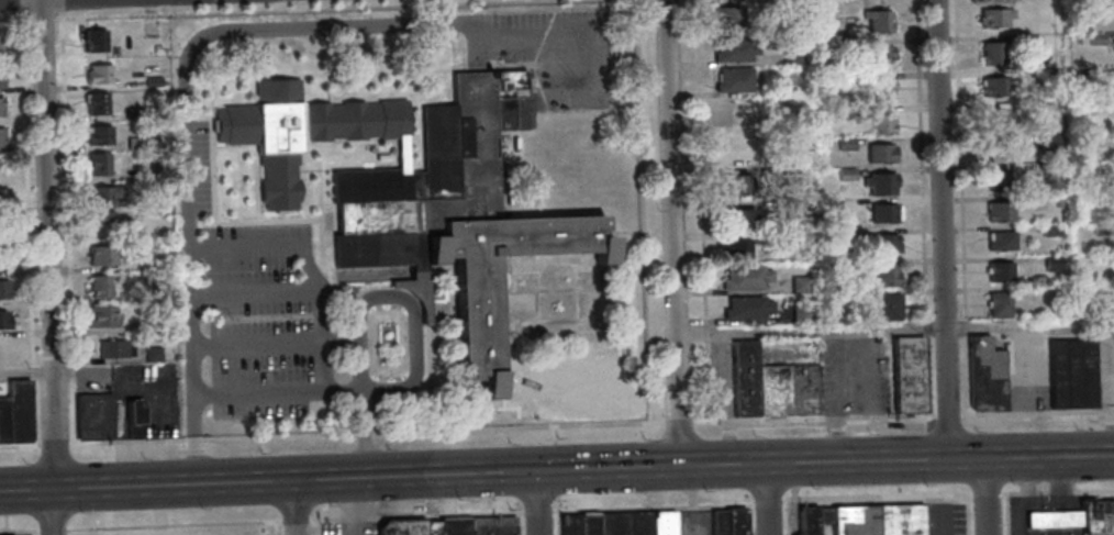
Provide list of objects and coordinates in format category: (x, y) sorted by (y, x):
road: (44, 1)
road: (20, 4)
road: (59, 4)
building: (784, 7)
road: (263, 10)
building: (726, 16)
building: (996, 19)
building: (877, 20)
road: (368, 24)
building: (839, 33)
building: (1095, 38)
building: (1081, 40)
building: (1029, 41)
building: (93, 42)
building: (1113, 43)
building: (842, 45)
building: (734, 49)
building: (992, 54)
building: (878, 55)
building: (790, 58)
building: (98, 74)
building: (1045, 74)
building: (1078, 76)
building: (0, 78)
building: (733, 80)
building: (152, 81)
building: (994, 86)
building: (877, 89)
building: (97, 103)
building: (0, 107)
building: (1080, 107)
building: (133, 114)
building: (994, 119)
building: (879, 124)
building: (98, 134)
building: (1, 137)
building: (1081, 142)
building: (135, 143)
building: (844, 143)
building: (1047, 143)
building: (735, 147)
building: (996, 152)
building: (879, 153)
building: (99, 164)
building: (789, 168)
building: (1049, 169)
building: (846, 174)
building: (1000, 181)
building: (734, 185)
building: (881, 185)
building: (2, 198)
building: (103, 200)
building: (1057, 203)
building: (831, 207)
road: (921, 207)
road: (960, 207)
building: (427, 208)
building: (794, 208)
road: (700, 210)
road: (643, 211)
building: (1000, 212)
building: (884, 213)
building: (739, 220)
road: (26, 227)
road: (66, 229)
building: (1100, 229)
road: (940, 230)
building: (1050, 231)
road: (671, 233)
building: (762, 236)
building: (833, 236)
road: (187, 241)
building: (1001, 242)
building: (885, 245)
building: (737, 250)
building: (102, 255)
building: (2, 259)
building: (1052, 264)
road: (47, 267)
building: (1000, 274)
building: (885, 276)
building: (745, 278)
building: (800, 285)
building: (99, 286)
building: (2, 289)
building: (416, 291)
road: (253, 296)
building: (999, 305)
building: (889, 306)
building: (746, 309)
road: (411, 312)
building: (799, 313)
building: (101, 316)
building: (4, 321)
road: (321, 321)
building: (149, 325)
road: (188, 326)
road: (1028, 326)
road: (809, 331)
road: (341, 342)
road: (256, 346)
building: (112, 348)
building: (152, 355)
road: (358, 358)
road: (45, 372)
building: (1071, 374)
building: (984, 375)
building: (909, 376)
building: (744, 379)
road: (361, 391)
building: (771, 391)
building: (802, 391)
road: (257, 397)
parking lot: (145, 398)
road: (726, 399)
building: (18, 412)
road: (1036, 413)
road: (946, 414)
building: (94, 415)
road: (165, 416)
road: (190, 417)
road: (812, 417)
building: (134, 420)
building: (3, 422)
road: (677, 422)
road: (366, 432)
road: (365, 434)
road: (550, 435)
road: (21, 446)
road: (54, 449)
road: (1031, 457)
road: (191, 459)
road: (657, 466)
road: (554, 468)
traffic signals: (536, 471)
road: (330, 479)
road: (1059, 483)
road: (146, 484)
road: (1056, 491)
road: (985, 493)
road: (876, 495)
road: (984, 497)
road: (766, 499)
road: (689, 500)
road: (792, 500)
road: (1027, 500)
road: (766, 501)
road: (536, 502)
road: (1031, 504)
road: (294, 506)
road: (651, 508)
road: (536, 511)
road: (1004, 513)
road: (416, 514)
road: (556, 514)
road: (966, 514)
road: (786, 516)
building: (1078, 516)
road: (1031, 517)
road: (1061, 517)
road: (296, 519)
road: (747, 520)
building: (810, 520)
building: (876, 520)
building: (727, 521)
road: (516, 523)
building: (611, 523)
building: (637, 523)
building: (660, 523)
parking lot: (691, 523)
road: (172, 524)
building: (568, 524)
building: (587, 524)
road: (313, 526)
building: (492, 526)
road: (275, 527)
building: (454, 527)
building: (401, 528)
road: (19, 530)
road: (52, 530)
building: (431, 530)
road: (1032, 530)
road: (1062, 530)
road: (70, 532)
building: (9, 534)

